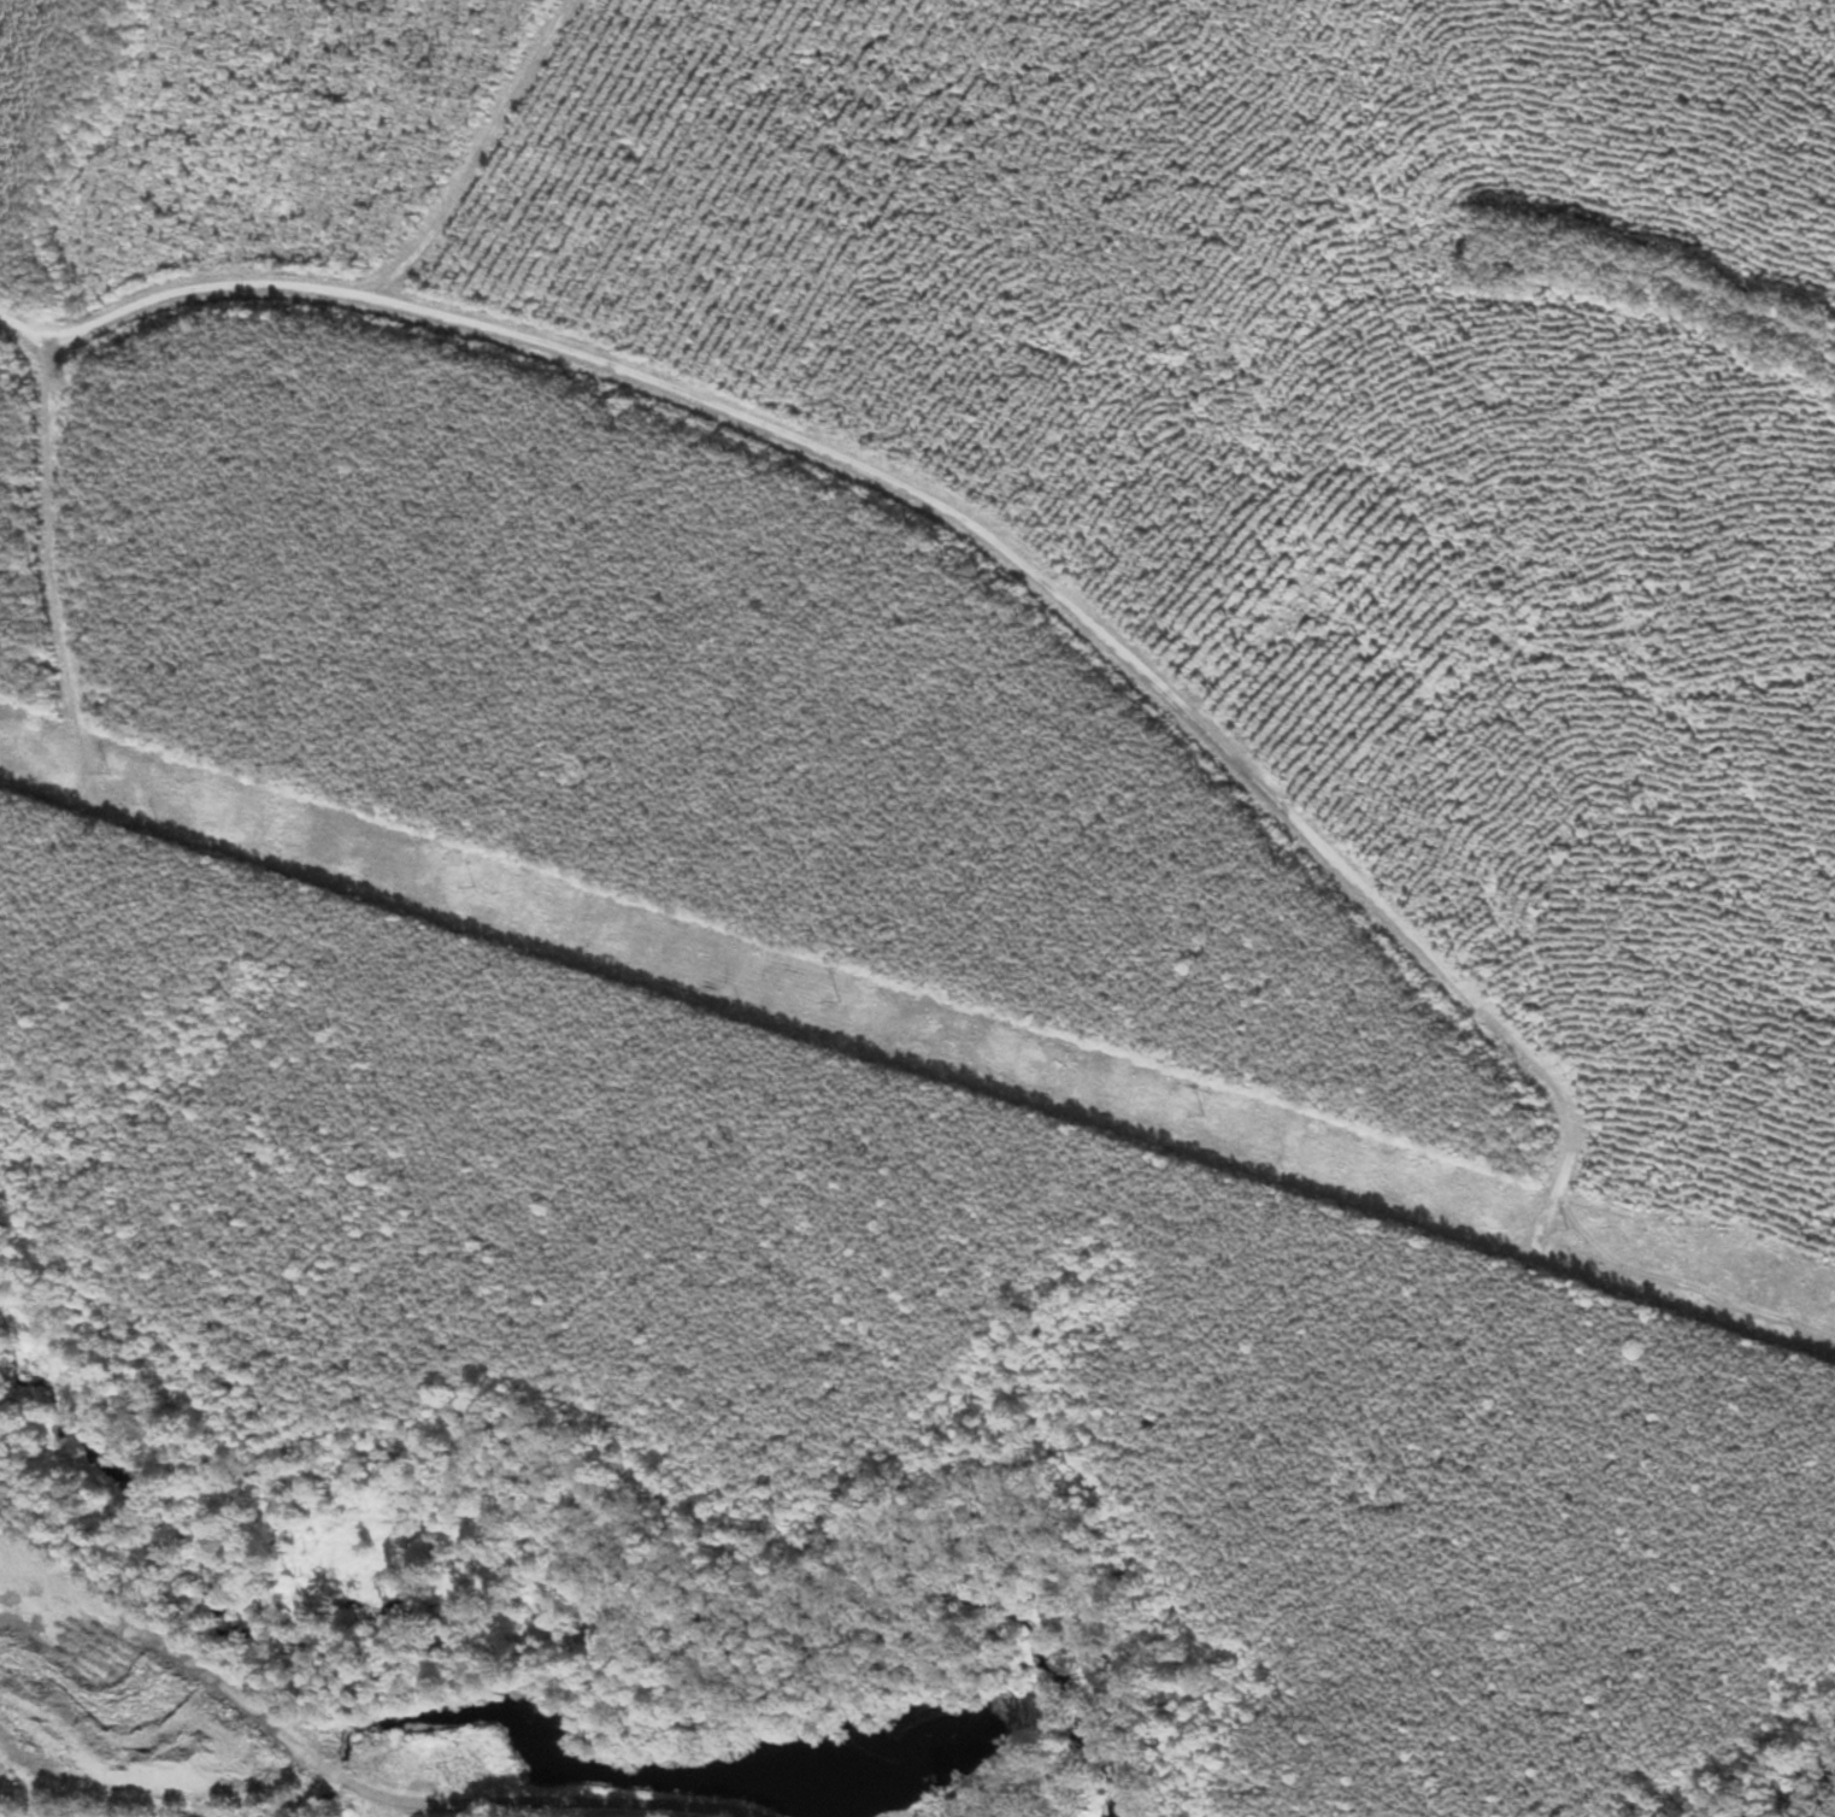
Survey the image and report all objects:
road: (867, 454)
road: (42, 1569)

